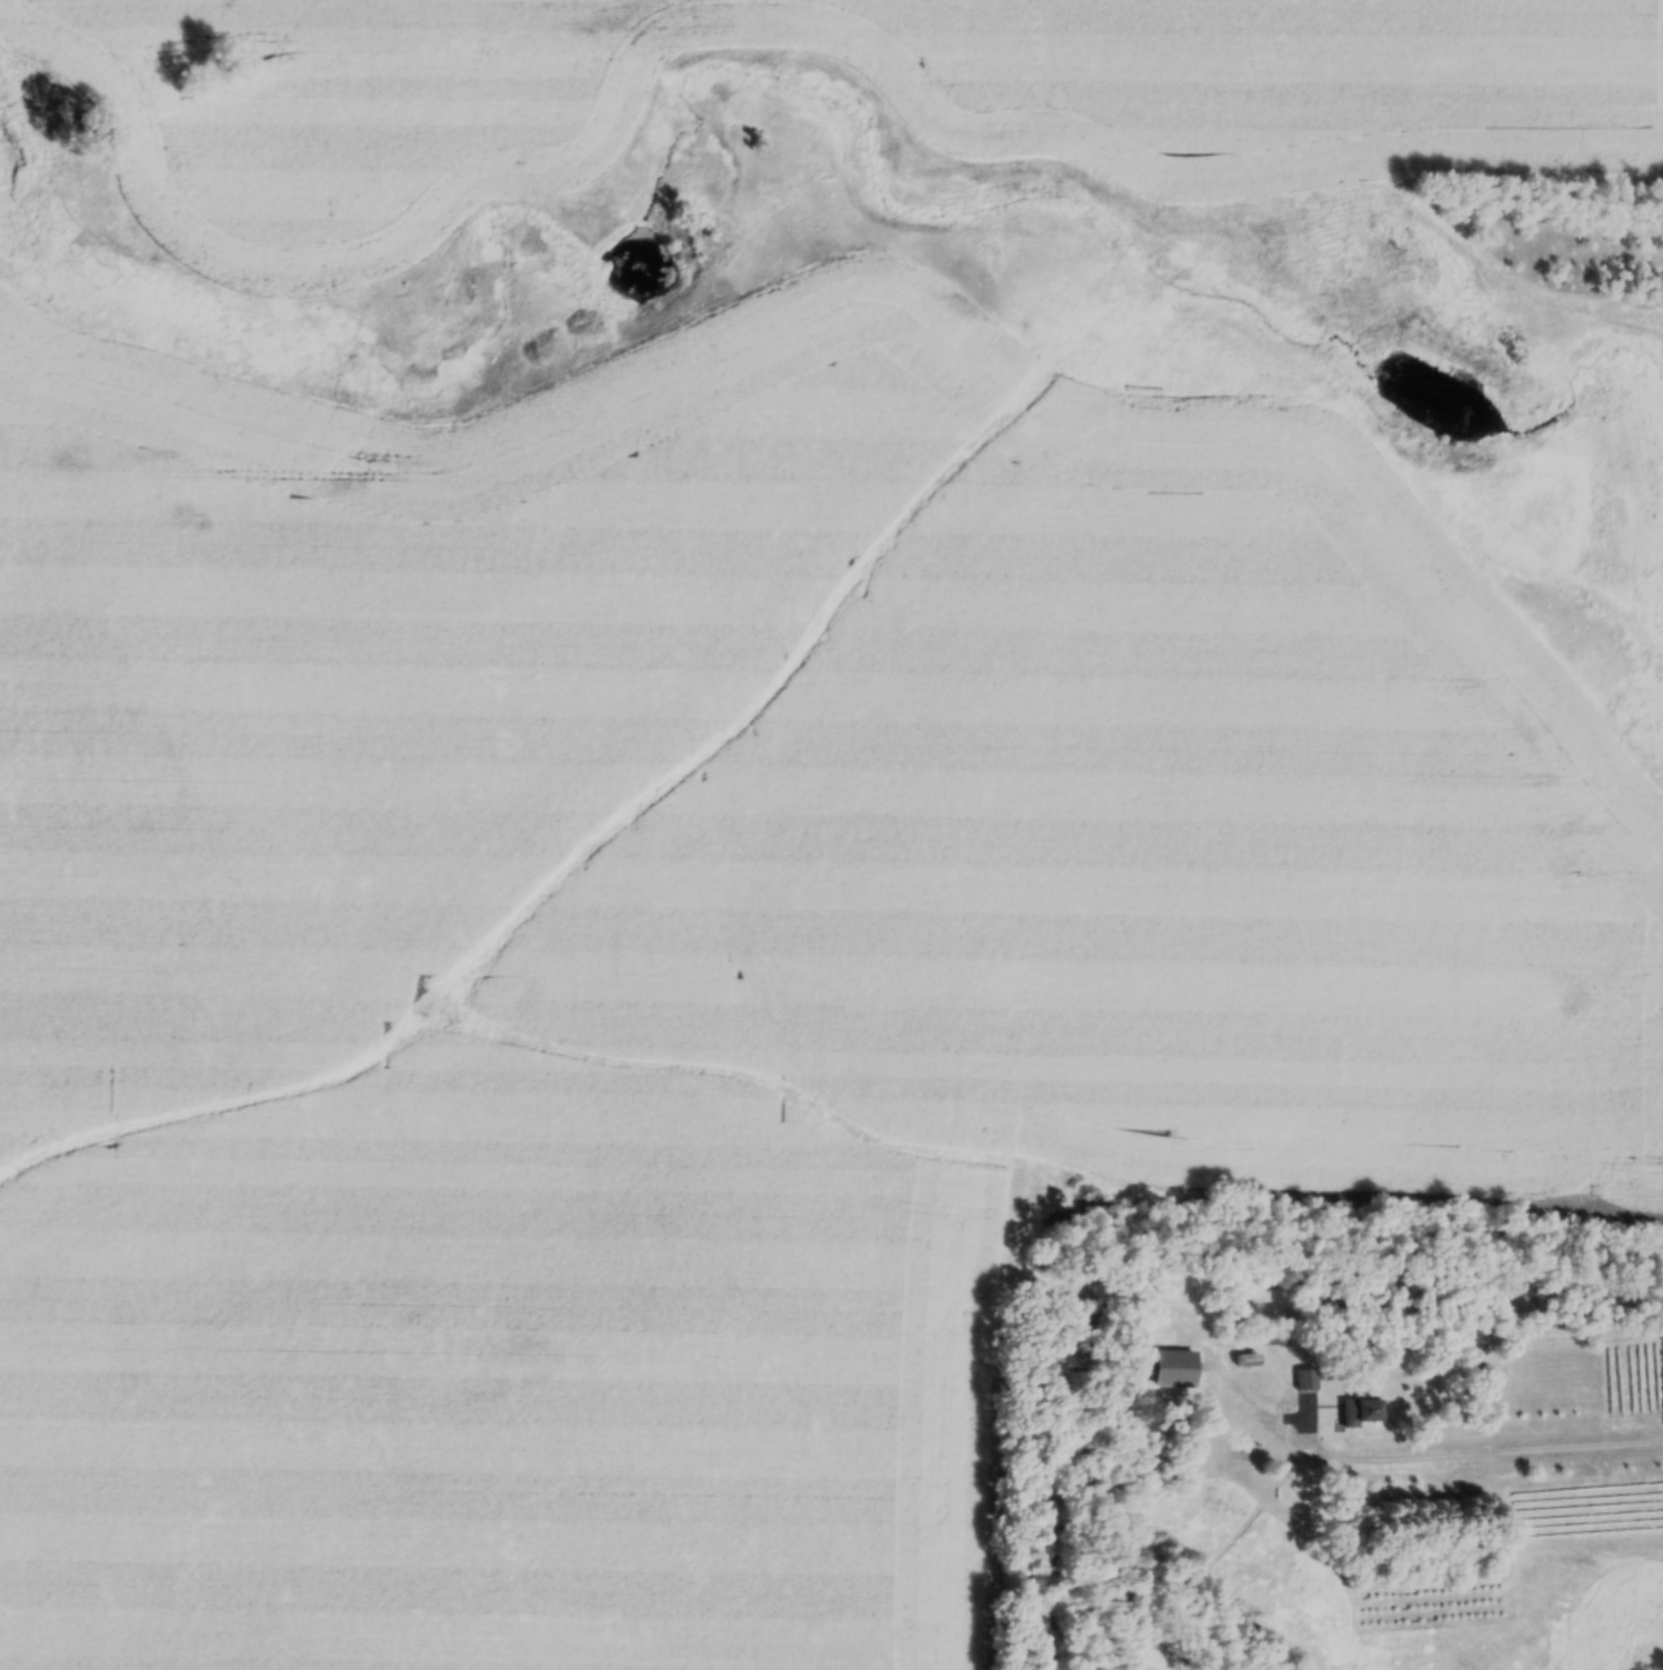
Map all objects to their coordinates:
building: (1275, 1339)
building: (1249, 1361)
building: (1178, 1370)
building: (1306, 1380)
building: (1362, 1414)
road: (1421, 1445)

